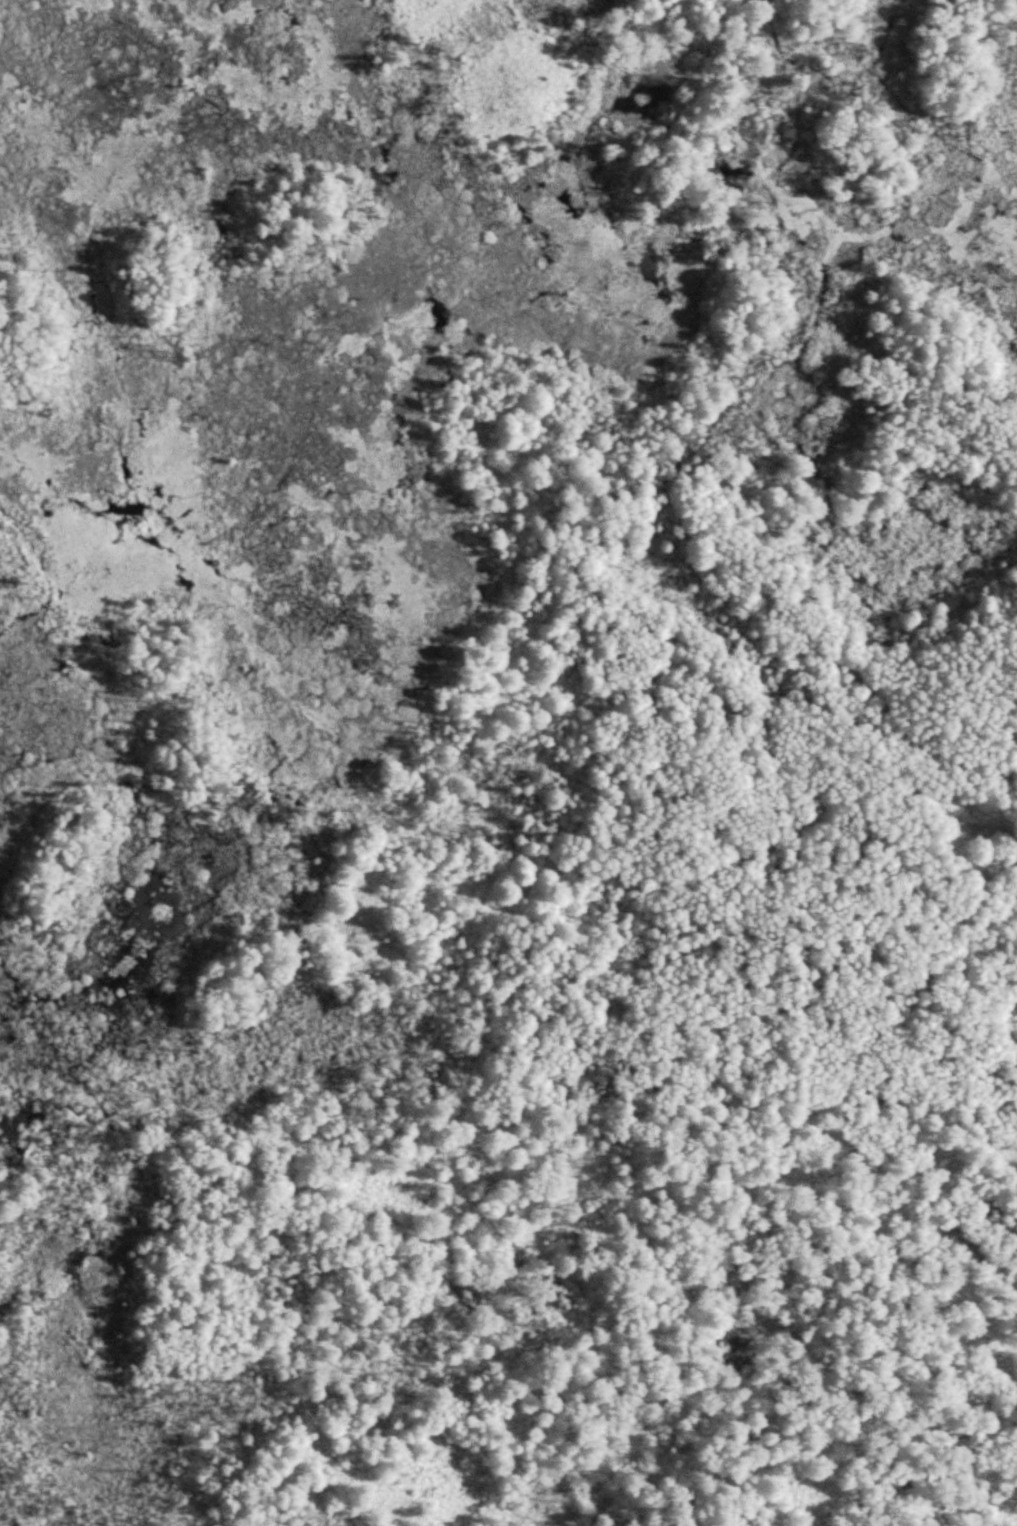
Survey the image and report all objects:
road: (912, 1130)

